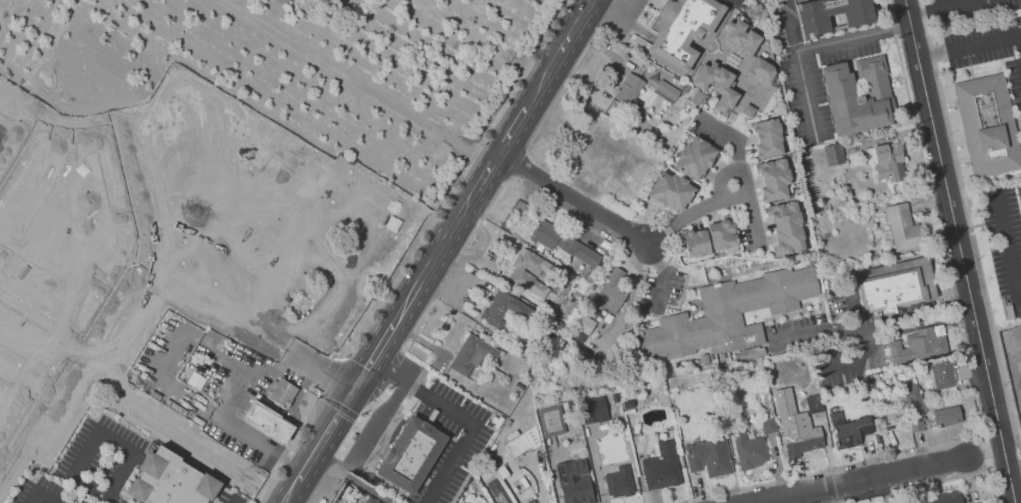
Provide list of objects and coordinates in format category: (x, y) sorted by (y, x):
road: (950, 1)
building: (285, 2)
building: (734, 2)
road: (935, 5)
building: (832, 14)
parking lot: (621, 15)
road: (72, 16)
building: (683, 30)
road: (485, 36)
road: (855, 37)
building: (743, 38)
road: (973, 43)
road: (603, 49)
parking lot: (989, 49)
road: (559, 53)
building: (762, 69)
road: (802, 70)
parking lot: (807, 73)
road: (643, 74)
road: (357, 80)
building: (717, 85)
building: (630, 89)
building: (667, 91)
building: (859, 95)
building: (749, 110)
building: (989, 124)
road: (52, 125)
road: (513, 129)
road: (733, 134)
parking lot: (708, 135)
building: (769, 138)
building: (834, 154)
road: (496, 156)
building: (696, 158)
road: (22, 161)
building: (888, 161)
road: (485, 175)
building: (773, 180)
road: (456, 181)
road: (747, 185)
building: (671, 191)
building: (1019, 192)
road: (574, 197)
road: (696, 212)
road: (972, 220)
building: (902, 226)
building: (786, 228)
building: (723, 233)
parking lot: (746, 236)
building: (564, 242)
building: (697, 243)
road: (1009, 247)
road: (963, 251)
building: (531, 272)
road: (666, 275)
building: (898, 285)
building: (612, 291)
parking lot: (663, 291)
parking lot: (838, 298)
road: (212, 302)
road: (103, 307)
building: (507, 309)
road: (29, 312)
building: (729, 314)
parking lot: (796, 323)
road: (918, 323)
road: (816, 333)
road: (860, 339)
road: (380, 345)
building: (921, 345)
building: (475, 355)
road: (323, 366)
road: (279, 369)
road: (327, 374)
building: (943, 375)
parking lot: (841, 377)
road: (24, 380)
traffic signals: (358, 385)
building: (282, 392)
building: (912, 393)
building: (814, 403)
building: (628, 404)
building: (592, 409)
parking lot: (388, 413)
road: (465, 413)
building: (947, 416)
building: (269, 420)
building: (551, 420)
road: (165, 421)
building: (769, 425)
building: (795, 425)
building: (917, 425)
building: (849, 429)
road: (100, 431)
parking lot: (452, 441)
building: (524, 442)
building: (602, 445)
building: (747, 445)
road: (288, 448)
parking lot: (103, 454)
building: (411, 454)
building: (708, 457)
building: (495, 462)
building: (662, 467)
road: (863, 479)
building: (171, 480)
building: (619, 483)
building: (501, 486)
parking lot: (47, 490)
building: (574, 491)
road: (39, 494)
building: (942, 497)
parking lot: (228, 498)
road: (112, 500)
building: (372, 500)
building: (528, 501)
building: (977, 502)

